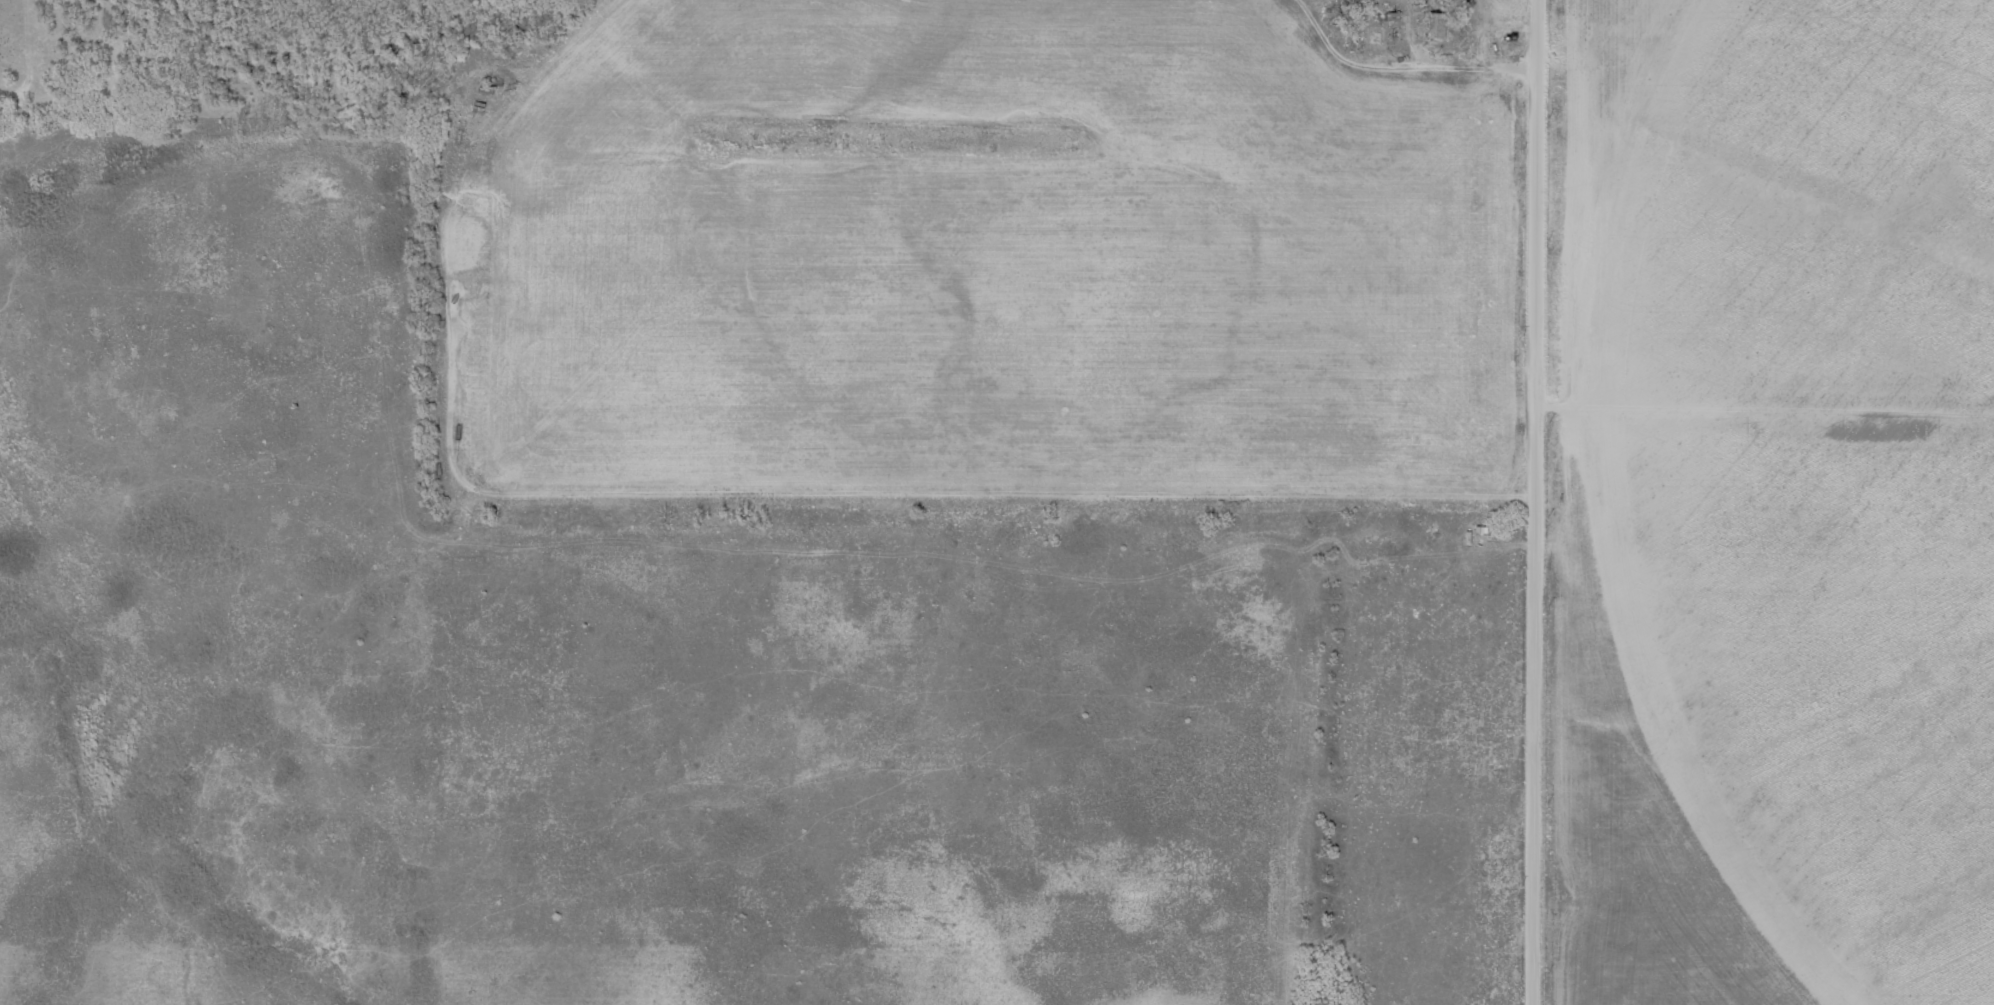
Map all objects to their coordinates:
building: (1435, 25)
building: (1375, 36)
road: (1534, 502)

